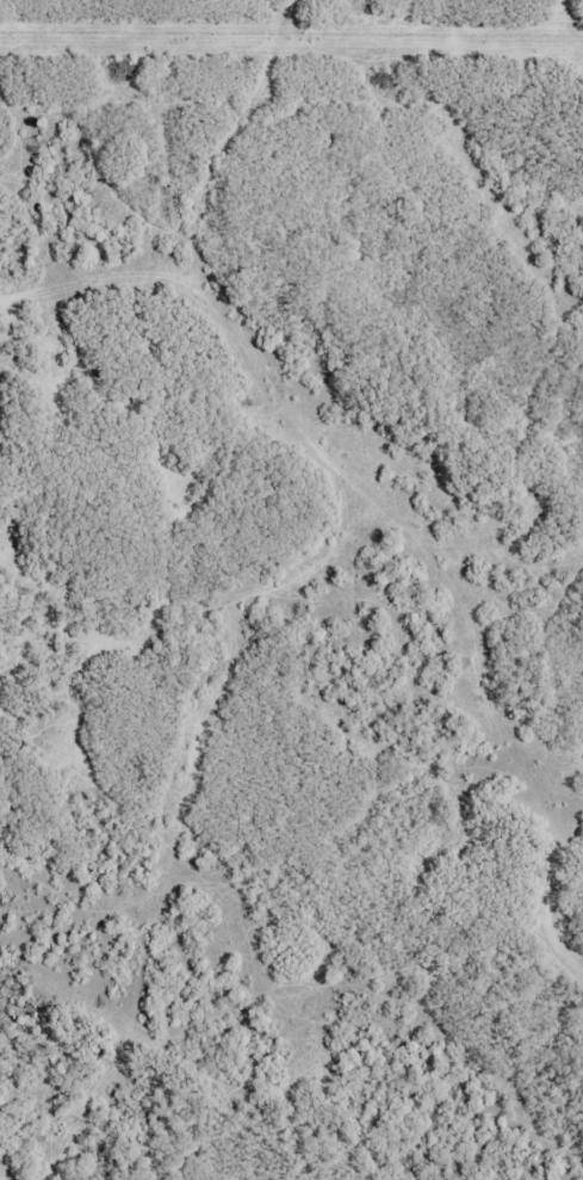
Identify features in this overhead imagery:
road: (323, 450)

